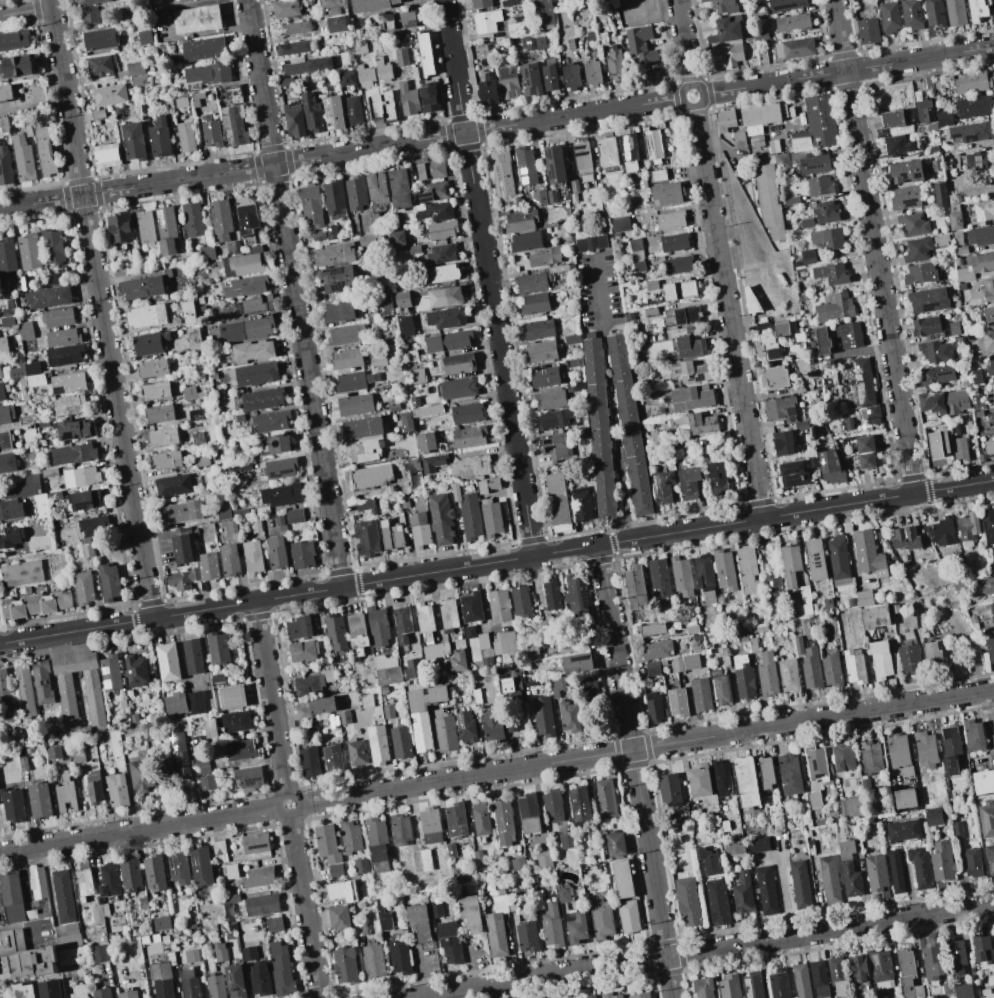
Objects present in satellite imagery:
building: (181, 0)
building: (702, 0)
building: (90, 2)
building: (507, 2)
building: (480, 3)
building: (370, 4)
building: (785, 4)
building: (330, 6)
building: (722, 6)
rooftop solar panel: (785, 7)
building: (285, 8)
road: (25, 10)
building: (977, 11)
building: (955, 12)
building: (543, 13)
building: (758, 13)
building: (911, 14)
building: (90, 15)
building: (933, 15)
building: (888, 17)
building: (196, 19)
building: (398, 20)
building: (486, 20)
building: (792, 21)
building: (336, 23)
rooftop solar panel: (413, 24)
building: (292, 28)
building: (518, 28)
building: (727, 29)
building: (867, 31)
building: (760, 34)
building: (99, 38)
building: (144, 38)
building: (603, 38)
building: (14, 39)
building: (539, 41)
road: (682, 42)
building: (526, 43)
building: (569, 43)
building: (640, 43)
building: (296, 47)
building: (359, 47)
building: (203, 48)
building: (794, 48)
building: (425, 53)
building: (727, 53)
building: (762, 57)
building: (102, 65)
building: (307, 65)
building: (615, 65)
building: (16, 66)
building: (135, 67)
building: (382, 69)
road: (847, 70)
building: (591, 72)
building: (208, 73)
rooftop solar panel: (526, 74)
building: (364, 75)
building: (569, 75)
building: (345, 78)
building: (549, 78)
building: (529, 79)
building: (138, 80)
building: (507, 80)
building: (285, 81)
building: (939, 81)
building: (970, 82)
rooftop solar panel: (527, 84)
building: (194, 87)
building: (488, 89)
building: (232, 91)
road: (701, 91)
building: (5, 92)
building: (112, 94)
road: (65, 97)
building: (428, 97)
building: (196, 98)
building: (407, 98)
building: (181, 103)
rooftop solar panel: (326, 103)
building: (381, 106)
building: (973, 106)
building: (169, 108)
building: (352, 109)
building: (144, 110)
building: (924, 111)
building: (118, 112)
building: (312, 112)
rooftop solar panel: (328, 113)
building: (333, 113)
building: (98, 114)
building: (758, 116)
building: (892, 118)
building: (943, 118)
building: (724, 119)
building: (294, 120)
rooftop solar panel: (330, 121)
building: (815, 124)
building: (3, 125)
building: (234, 125)
building: (932, 126)
rooftop solar panel: (330, 128)
building: (27, 130)
building: (210, 131)
building: (971, 131)
rooftop solar panel: (956, 136)
building: (185, 137)
building: (159, 138)
building: (738, 138)
rooftop solar panel: (971, 138)
building: (132, 141)
road: (718, 142)
building: (652, 145)
building: (897, 145)
road: (381, 147)
rooftop solar panel: (579, 148)
building: (44, 150)
building: (606, 151)
building: (628, 151)
rooftop solar panel: (549, 154)
building: (106, 155)
rooftop solar panel: (581, 155)
building: (581, 156)
building: (23, 158)
building: (781, 161)
building: (813, 163)
building: (971, 163)
building: (935, 164)
building: (524, 165)
building: (554, 165)
building: (5, 167)
building: (430, 169)
rooftop solar panel: (523, 171)
building: (905, 171)
building: (502, 173)
building: (657, 174)
rooftop solar panel: (552, 175)
rooftop solar panel: (904, 176)
rooftop solar panel: (917, 177)
rooftop solar panel: (524, 181)
building: (642, 183)
building: (629, 185)
building: (819, 185)
building: (376, 186)
building: (399, 188)
rooftop solar panel: (447, 190)
building: (573, 190)
building: (355, 192)
building: (434, 192)
building: (665, 193)
building: (939, 194)
building: (551, 195)
building: (332, 196)
rooftop solar panel: (424, 197)
building: (538, 197)
building: (904, 198)
building: (790, 199)
building: (768, 200)
building: (517, 201)
road: (40, 202)
rooftop solar panel: (425, 202)
rooftop solar panel: (910, 203)
building: (311, 204)
building: (436, 211)
building: (824, 211)
building: (982, 211)
building: (246, 214)
building: (574, 215)
building: (954, 216)
building: (374, 217)
building: (191, 218)
rooftop solar panel: (161, 219)
building: (220, 219)
building: (518, 219)
building: (670, 219)
building: (620, 223)
building: (806, 223)
building: (912, 223)
building: (146, 226)
building: (119, 227)
building: (166, 229)
building: (441, 229)
building: (331, 232)
building: (318, 235)
building: (980, 235)
building: (397, 237)
building: (366, 239)
building: (827, 239)
building: (941, 239)
building: (525, 240)
building: (674, 241)
building: (590, 243)
building: (635, 243)
building: (958, 243)
building: (52, 246)
road: (873, 246)
building: (232, 247)
building: (414, 249)
building: (917, 249)
building: (29, 251)
building: (206, 252)
building: (441, 253)
building: (7, 254)
building: (334, 254)
building: (636, 254)
building: (545, 256)
building: (807, 256)
rooftop solar panel: (443, 261)
building: (958, 261)
building: (243, 262)
building: (677, 264)
building: (975, 265)
building: (638, 266)
building: (557, 268)
building: (119, 270)
rooftop solar panel: (335, 272)
building: (442, 273)
building: (831, 273)
building: (920, 273)
road: (487, 277)
building: (337, 278)
building: (52, 279)
building: (531, 282)
building: (24, 283)
building: (650, 284)
building: (142, 286)
building: (245, 286)
rooftop solar panel: (340, 288)
building: (679, 289)
building: (987, 289)
road: (295, 293)
building: (445, 296)
building: (47, 297)
building: (402, 299)
building: (927, 300)
building: (750, 301)
building: (534, 303)
building: (255, 304)
building: (385, 306)
building: (834, 307)
building: (7, 308)
building: (188, 311)
building: (338, 311)
building: (650, 312)
road: (726, 312)
building: (628, 315)
building: (680, 315)
building: (988, 315)
building: (146, 316)
building: (57, 317)
building: (446, 317)
building: (6, 321)
building: (761, 323)
building: (934, 327)
building: (25, 329)
building: (245, 329)
building: (539, 329)
building: (689, 329)
building: (780, 329)
building: (405, 331)
building: (344, 334)
building: (848, 334)
building: (62, 337)
building: (193, 338)
building: (571, 338)
building: (823, 339)
building: (958, 340)
building: (985, 340)
building: (448, 341)
building: (150, 342)
building: (3, 344)
building: (689, 346)
building: (766, 346)
building: (252, 350)
building: (541, 350)
building: (934, 351)
building: (64, 354)
rooftop solar panel: (774, 354)
building: (411, 355)
building: (346, 358)
building: (378, 361)
rooftop solar panel: (66, 362)
building: (572, 362)
building: (459, 363)
building: (991, 364)
building: (32, 367)
building: (17, 368)
building: (152, 368)
rooftop solar panel: (857, 369)
building: (692, 371)
building: (0, 373)
building: (256, 373)
building: (937, 374)
rooftop solar panel: (943, 374)
building: (417, 375)
building: (544, 376)
building: (974, 376)
building: (773, 377)
building: (36, 379)
building: (354, 380)
building: (68, 382)
building: (574, 386)
building: (458, 388)
building: (796, 388)
building: (23, 389)
rooftop solar panel: (58, 390)
building: (155, 390)
building: (863, 390)
building: (1, 391)
building: (188, 392)
rooftop solar panel: (861, 393)
building: (991, 394)
rooftop solar panel: (991, 396)
road: (611, 397)
building: (690, 397)
building: (262, 398)
building: (549, 399)
building: (414, 401)
building: (956, 401)
building: (931, 402)
building: (977, 402)
rooftop solar panel: (990, 402)
building: (69, 404)
building: (354, 404)
road: (115, 406)
building: (392, 407)
building: (779, 408)
building: (426, 410)
building: (809, 412)
building: (6, 413)
building: (159, 413)
building: (466, 413)
rooftop solar panel: (791, 413)
building: (978, 413)
building: (194, 414)
building: (993, 414)
building: (239, 417)
building: (554, 418)
building: (25, 419)
rooftop solar panel: (792, 419)
building: (271, 420)
building: (405, 421)
building: (696, 422)
building: (977, 422)
building: (628, 423)
building: (43, 424)
building: (848, 424)
building: (801, 425)
building: (361, 427)
building: (598, 427)
building: (72, 429)
building: (954, 430)
building: (162, 436)
building: (468, 436)
rooftop solar panel: (68, 437)
building: (197, 437)
rooftop solar panel: (77, 438)
building: (5, 440)
building: (426, 442)
building: (782, 442)
building: (277, 443)
building: (700, 443)
building: (935, 445)
building: (556, 446)
building: (989, 447)
building: (959, 448)
building: (364, 450)
building: (866, 450)
building: (73, 453)
building: (441, 457)
building: (166, 459)
building: (202, 460)
building: (812, 461)
building: (8, 462)
building: (238, 466)
building: (470, 466)
building: (831, 466)
building: (279, 467)
building: (48, 471)
building: (412, 471)
rooftop solar panel: (285, 472)
building: (792, 474)
building: (370, 475)
building: (80, 476)
rooftop solar panel: (275, 477)
building: (717, 478)
building: (687, 482)
building: (487, 484)
building: (173, 485)
building: (662, 486)
building: (22, 487)
building: (454, 491)
building: (280, 494)
building: (85, 500)
building: (44, 502)
building: (403, 502)
building: (557, 502)
building: (364, 504)
building: (580, 504)
building: (11, 509)
building: (223, 510)
building: (179, 511)
building: (239, 513)
building: (293, 516)
building: (469, 516)
building: (490, 517)
building: (440, 518)
building: (278, 519)
building: (255, 524)
building: (989, 524)
building: (968, 525)
building: (92, 526)
building: (230, 527)
building: (282, 528)
building: (419, 529)
building: (184, 530)
building: (943, 531)
building: (391, 535)
building: (10, 536)
building: (366, 537)
building: (898, 538)
building: (911, 538)
building: (38, 542)
building: (182, 548)
building: (87, 550)
building: (276, 551)
building: (302, 554)
building: (868, 554)
building: (253, 556)
building: (228, 559)
building: (815, 559)
road: (497, 560)
building: (837, 560)
building: (789, 564)
building: (992, 565)
building: (207, 566)
building: (723, 569)
building: (746, 569)
building: (21, 572)
building: (681, 575)
building: (658, 577)
building: (704, 578)
building: (182, 579)
building: (108, 581)
building: (773, 584)
building: (983, 585)
building: (634, 586)
building: (83, 587)
building: (959, 587)
building: (576, 592)
building: (551, 594)
rooftop solar panel: (584, 594)
building: (863, 598)
building: (805, 599)
building: (520, 601)
building: (826, 602)
building: (850, 602)
building: (35, 603)
building: (499, 605)
building: (470, 607)
building: (895, 608)
building: (984, 612)
building: (447, 615)
building: (874, 616)
building: (690, 618)
building: (972, 618)
building: (424, 620)
building: (401, 624)
building: (377, 626)
building: (545, 626)
building: (299, 627)
building: (585, 627)
building: (759, 627)
building: (650, 628)
building: (691, 628)
building: (535, 630)
building: (468, 631)
building: (742, 631)
building: (335, 632)
building: (357, 632)
building: (695, 637)
building: (744, 638)
building: (482, 640)
building: (572, 642)
building: (503, 643)
building: (752, 644)
building: (217, 648)
building: (990, 648)
building: (435, 649)
building: (656, 649)
building: (303, 652)
building: (191, 655)
building: (932, 656)
building: (723, 657)
building: (879, 659)
building: (910, 659)
building: (456, 660)
building: (383, 661)
building: (167, 662)
building: (684, 662)
building: (577, 663)
building: (809, 664)
building: (854, 665)
building: (412, 668)
building: (652, 668)
rooftop solar panel: (106, 670)
building: (136, 670)
building: (832, 670)
building: (110, 672)
building: (766, 674)
building: (788, 674)
building: (387, 675)
building: (743, 677)
building: (217, 678)
building: (312, 681)
building: (42, 683)
building: (91, 683)
rooftop solar panel: (108, 683)
building: (529, 683)
building: (512, 684)
building: (556, 685)
building: (588, 687)
building: (719, 687)
building: (23, 690)
building: (700, 694)
building: (5, 696)
building: (231, 696)
road: (270, 696)
building: (427, 698)
building: (366, 700)
building: (196, 701)
building: (174, 702)
building: (677, 702)
building: (314, 706)
building: (654, 707)
building: (388, 711)
building: (542, 715)
building: (182, 716)
building: (569, 716)
building: (339, 718)
rooftop solar panel: (459, 718)
rooftop solar panel: (467, 719)
building: (235, 721)
rooftop solar panel: (337, 721)
rooftop solar panel: (332, 722)
building: (491, 722)
building: (511, 723)
building: (465, 726)
building: (210, 728)
building: (421, 731)
building: (512, 732)
building: (445, 734)
building: (973, 735)
building: (14, 740)
building: (198, 740)
building: (400, 740)
building: (377, 744)
road: (647, 747)
building: (950, 749)
building: (239, 750)
building: (925, 750)
building: (54, 752)
building: (356, 752)
building: (898, 753)
building: (178, 754)
building: (76, 756)
building: (843, 756)
building: (870, 757)
building: (332, 758)
building: (309, 762)
building: (23, 763)
building: (814, 763)
building: (201, 766)
road: (635, 770)
building: (765, 772)
building: (789, 773)
building: (140, 775)
building: (248, 776)
building: (721, 778)
rooftop solar panel: (250, 780)
building: (699, 780)
building: (745, 781)
building: (983, 781)
building: (206, 782)
building: (864, 783)
building: (93, 787)
building: (669, 789)
building: (117, 790)
building: (925, 791)
building: (605, 798)
building: (904, 798)
building: (65, 799)
building: (813, 799)
building: (39, 801)
building: (12, 804)
building: (578, 804)
building: (552, 805)
building: (851, 806)
road: (295, 814)
building: (528, 814)
building: (694, 814)
building: (933, 817)
building: (986, 818)
building: (455, 819)
building: (480, 819)
building: (503, 822)
building: (675, 823)
building: (429, 824)
building: (399, 829)
building: (957, 829)
building: (902, 830)
road: (138, 831)
building: (592, 834)
building: (349, 837)
building: (566, 841)
building: (254, 843)
building: (325, 843)
building: (377, 843)
building: (614, 844)
building: (758, 844)
rooftop solar panel: (256, 845)
building: (218, 847)
building: (450, 850)
building: (733, 850)
building: (478, 858)
building: (990, 858)
building: (425, 860)
building: (707, 860)
building: (942, 861)
rooftop solar panel: (172, 862)
building: (543, 862)
building: (972, 862)
building: (517, 863)
building: (360, 865)
building: (200, 866)
building: (178, 867)
building: (920, 867)
building: (335, 870)
building: (848, 870)
building: (895, 870)
building: (230, 871)
building: (154, 872)
rooftop solar panel: (174, 872)
building: (875, 872)
building: (129, 874)
building: (258, 877)
building: (621, 878)
building: (108, 880)
building: (829, 880)
building: (37, 882)
building: (82, 883)
building: (800, 884)
building: (765, 889)
building: (341, 891)
building: (742, 893)
building: (563, 895)
building: (62, 896)
building: (11, 897)
building: (228, 898)
building: (536, 899)
building: (687, 900)
building: (717, 902)
building: (142, 903)
building: (261, 904)
building: (511, 904)
road: (305, 907)
building: (435, 910)
building: (228, 912)
building: (29, 913)
building: (98, 913)
building: (470, 913)
building: (42, 914)
building: (382, 916)
building: (627, 916)
building: (600, 917)
building: (338, 918)
building: (418, 921)
building: (160, 923)
road: (23, 924)
building: (273, 924)
building: (551, 925)
building: (576, 926)
building: (358, 927)
building: (496, 927)
building: (116, 935)
building: (109, 936)
building: (527, 936)
building: (11, 940)
building: (454, 941)
building: (69, 945)
building: (981, 948)
road: (706, 949)
building: (219, 952)
building: (98, 953)
building: (248, 953)
building: (191, 955)
building: (957, 956)
building: (399, 957)
rooftop solar panel: (875, 959)
building: (373, 960)
building: (932, 961)
building: (29, 962)
building: (344, 965)
building: (280, 969)
building: (881, 969)
building: (859, 973)
building: (836, 974)
rooftop solar panel: (228, 975)
building: (908, 975)
building: (259, 978)
building: (818, 978)
building: (161, 979)
building: (801, 980)
building: (234, 981)
building: (189, 984)
building: (753, 985)
building: (779, 985)
building: (215, 986)
building: (729, 986)
building: (704, 987)
rooftop solar panel: (750, 988)
building: (49, 989)
building: (22, 990)
building: (79, 991)
building: (963, 991)
building: (101, 992)
building: (127, 993)
building: (986, 993)
building: (610, 995)
building: (640, 995)
building: (590, 996)

